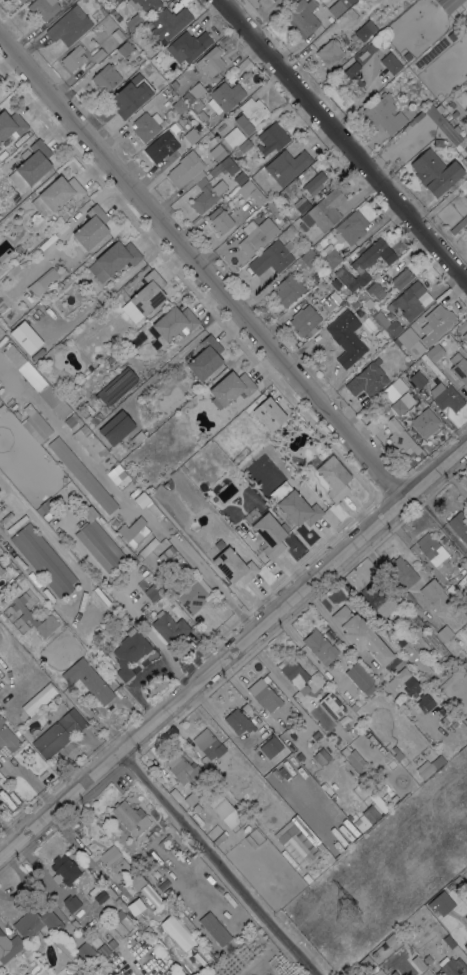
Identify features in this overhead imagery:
building: (117, 0)
building: (22, 1)
building: (351, 1)
building: (449, 4)
building: (338, 7)
building: (43, 8)
building: (141, 11)
building: (114, 14)
building: (301, 17)
building: (168, 23)
building: (69, 25)
building: (220, 31)
building: (362, 32)
building: (117, 35)
building: (189, 46)
building: (124, 48)
building: (329, 52)
building: (98, 54)
building: (360, 55)
building: (73, 57)
building: (211, 61)
building: (390, 63)
building: (105, 78)
building: (350, 84)
building: (197, 89)
building: (131, 95)
building: (174, 96)
building: (225, 97)
building: (188, 98)
building: (196, 105)
building: (179, 106)
building: (384, 113)
building: (454, 113)
building: (168, 114)
building: (251, 114)
building: (202, 115)
building: (416, 118)
building: (440, 122)
building: (11, 125)
building: (147, 125)
building: (175, 126)
building: (233, 137)
building: (271, 138)
building: (213, 140)
road: (340, 143)
building: (244, 144)
building: (158, 148)
building: (465, 149)
building: (217, 152)
building: (466, 158)
building: (34, 162)
building: (225, 167)
building: (285, 167)
building: (186, 169)
building: (435, 171)
building: (240, 178)
building: (314, 183)
building: (60, 192)
building: (251, 192)
building: (207, 197)
building: (301, 204)
building: (273, 209)
building: (323, 211)
building: (220, 220)
building: (459, 224)
building: (91, 227)
building: (352, 227)
building: (256, 234)
building: (18, 251)
building: (330, 256)
building: (309, 257)
building: (271, 258)
building: (113, 259)
building: (364, 264)
road: (200, 272)
building: (49, 275)
building: (401, 278)
building: (335, 285)
building: (288, 289)
building: (375, 290)
building: (144, 296)
building: (363, 297)
building: (408, 300)
building: (329, 302)
building: (27, 318)
building: (305, 320)
building: (175, 322)
building: (436, 323)
building: (388, 325)
building: (461, 326)
building: (13, 331)
building: (465, 336)
building: (346, 338)
building: (406, 338)
building: (435, 352)
building: (205, 358)
building: (459, 367)
building: (368, 379)
building: (417, 379)
building: (117, 386)
building: (230, 388)
building: (393, 389)
building: (448, 398)
building: (54, 401)
building: (401, 404)
building: (2, 407)
building: (384, 407)
building: (269, 413)
building: (71, 422)
building: (425, 422)
building: (35, 423)
building: (373, 425)
building: (116, 427)
building: (401, 437)
building: (90, 442)
building: (120, 473)
building: (82, 475)
building: (334, 477)
building: (466, 492)
building: (142, 499)
road: (123, 500)
building: (295, 505)
building: (45, 506)
building: (153, 510)
building: (459, 525)
building: (133, 531)
building: (269, 534)
building: (443, 538)
building: (100, 540)
building: (147, 545)
building: (431, 549)
building: (165, 553)
building: (151, 555)
building: (44, 559)
building: (234, 566)
building: (1, 570)
building: (402, 571)
building: (19, 577)
building: (154, 590)
building: (191, 592)
building: (433, 592)
building: (377, 599)
road: (320, 607)
building: (6, 612)
building: (30, 615)
building: (170, 626)
building: (429, 626)
building: (11, 628)
building: (444, 633)
building: (361, 635)
building: (27, 646)
building: (320, 646)
road: (306, 649)
road: (233, 650)
building: (408, 651)
building: (129, 652)
building: (292, 671)
road: (277, 673)
building: (4, 677)
building: (361, 678)
building: (88, 680)
building: (404, 682)
building: (303, 689)
building: (264, 695)
building: (39, 699)
building: (424, 702)
road: (254, 704)
building: (331, 705)
building: (442, 710)
building: (447, 719)
building: (348, 720)
building: (466, 720)
building: (72, 721)
building: (239, 721)
building: (258, 722)
building: (319, 735)
building: (7, 737)
building: (51, 740)
building: (208, 744)
building: (270, 747)
building: (233, 748)
building: (398, 755)
building: (288, 756)
building: (299, 756)
building: (321, 756)
building: (356, 761)
building: (306, 765)
building: (429, 766)
building: (183, 767)
building: (351, 769)
building: (290, 776)
building: (191, 797)
building: (197, 807)
building: (227, 813)
building: (370, 814)
building: (129, 817)
building: (258, 822)
building: (357, 822)
building: (151, 835)
building: (296, 842)
building: (114, 860)
road: (215, 864)
building: (317, 867)
building: (64, 870)
building: (150, 878)
building: (457, 880)
building: (101, 881)
building: (133, 883)
building: (111, 892)
building: (150, 896)
building: (106, 901)
building: (71, 903)
building: (120, 904)
building: (432, 905)
building: (135, 906)
building: (422, 908)
power tower: (343, 910)
building: (116, 917)
building: (466, 917)
building: (429, 919)
building: (74, 922)
building: (36, 924)
building: (215, 928)
building: (176, 932)
building: (1, 935)
building: (112, 943)
building: (446, 943)
building: (13, 946)
building: (465, 946)
building: (103, 949)
building: (84, 952)
building: (28, 954)
building: (430, 956)
building: (364, 962)
building: (419, 963)
building: (454, 967)
building: (68, 971)
building: (41, 972)
building: (349, 973)
building: (379, 973)
building: (393, 973)

